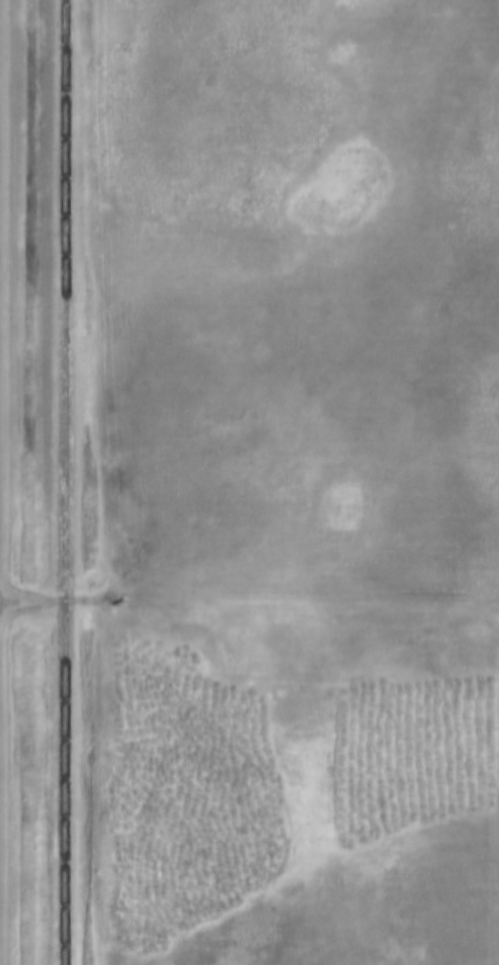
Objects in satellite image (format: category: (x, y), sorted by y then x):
railway: (61, 482)

